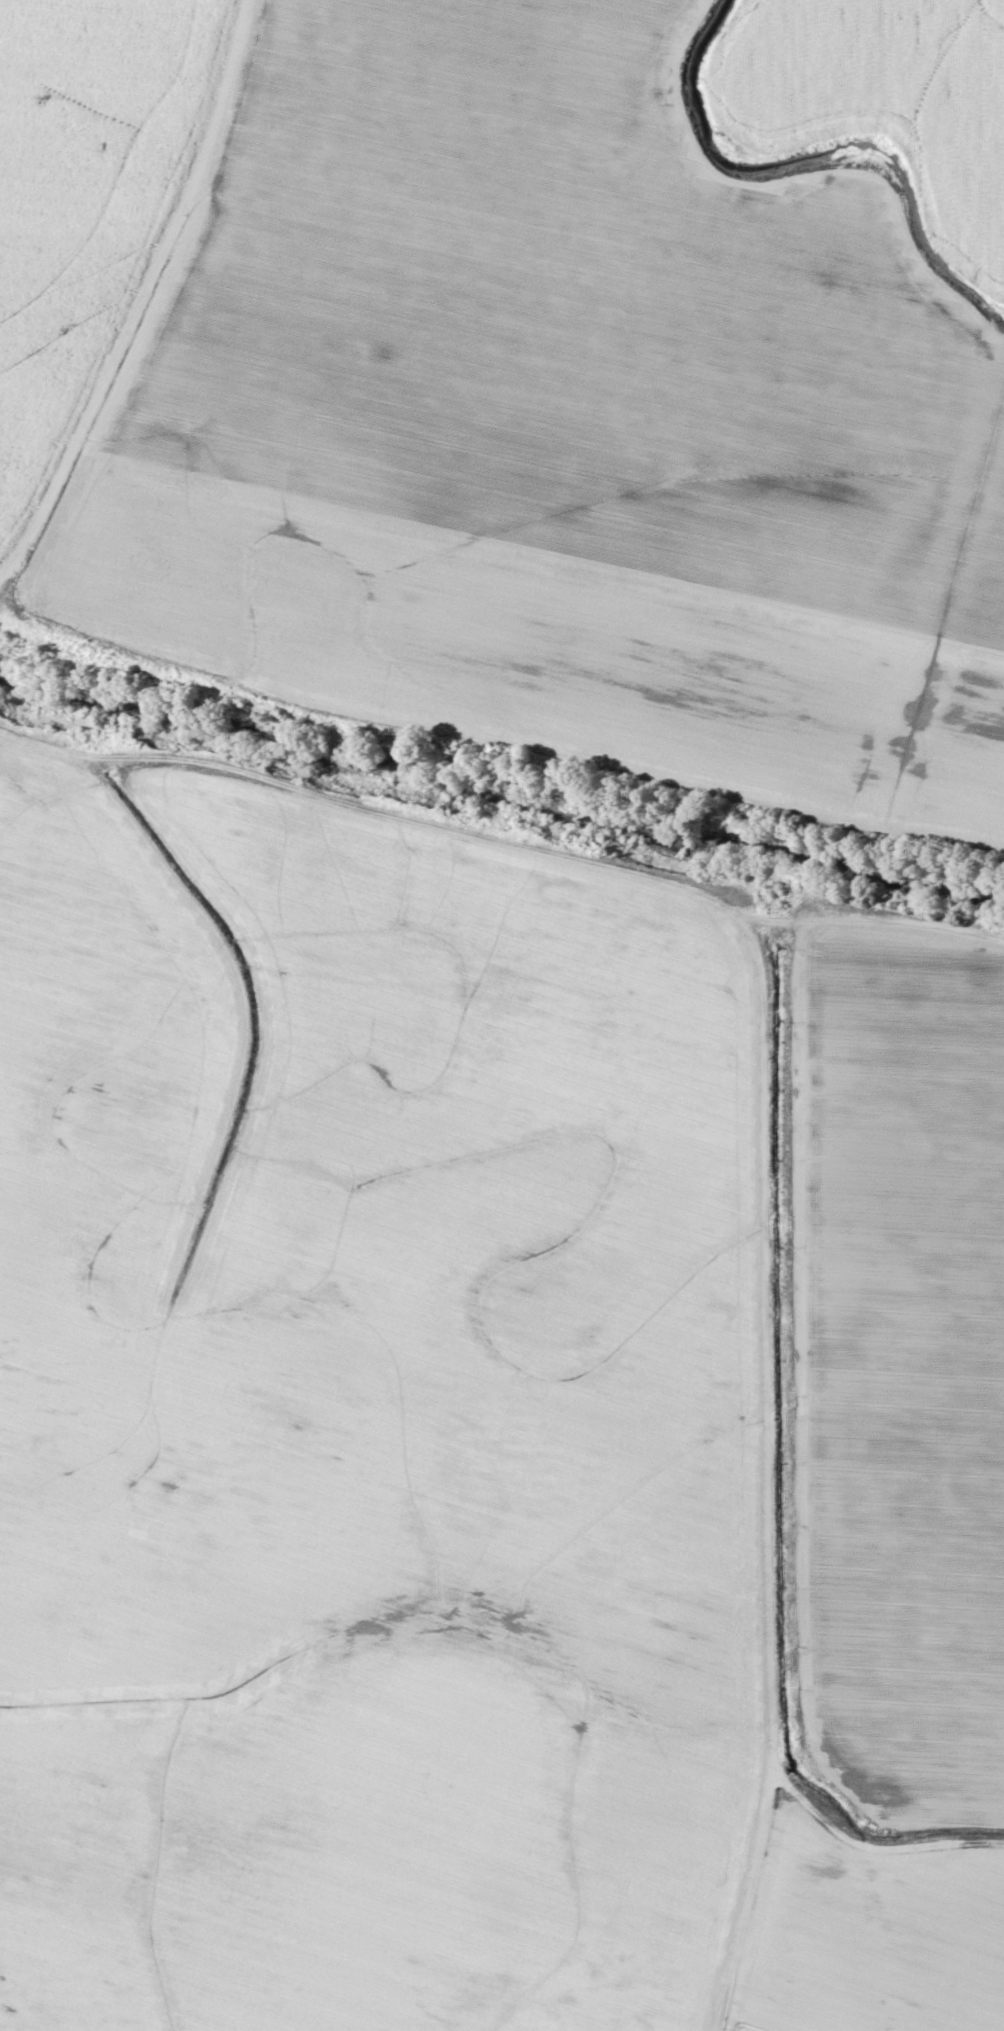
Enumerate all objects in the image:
road: (128, 291)

